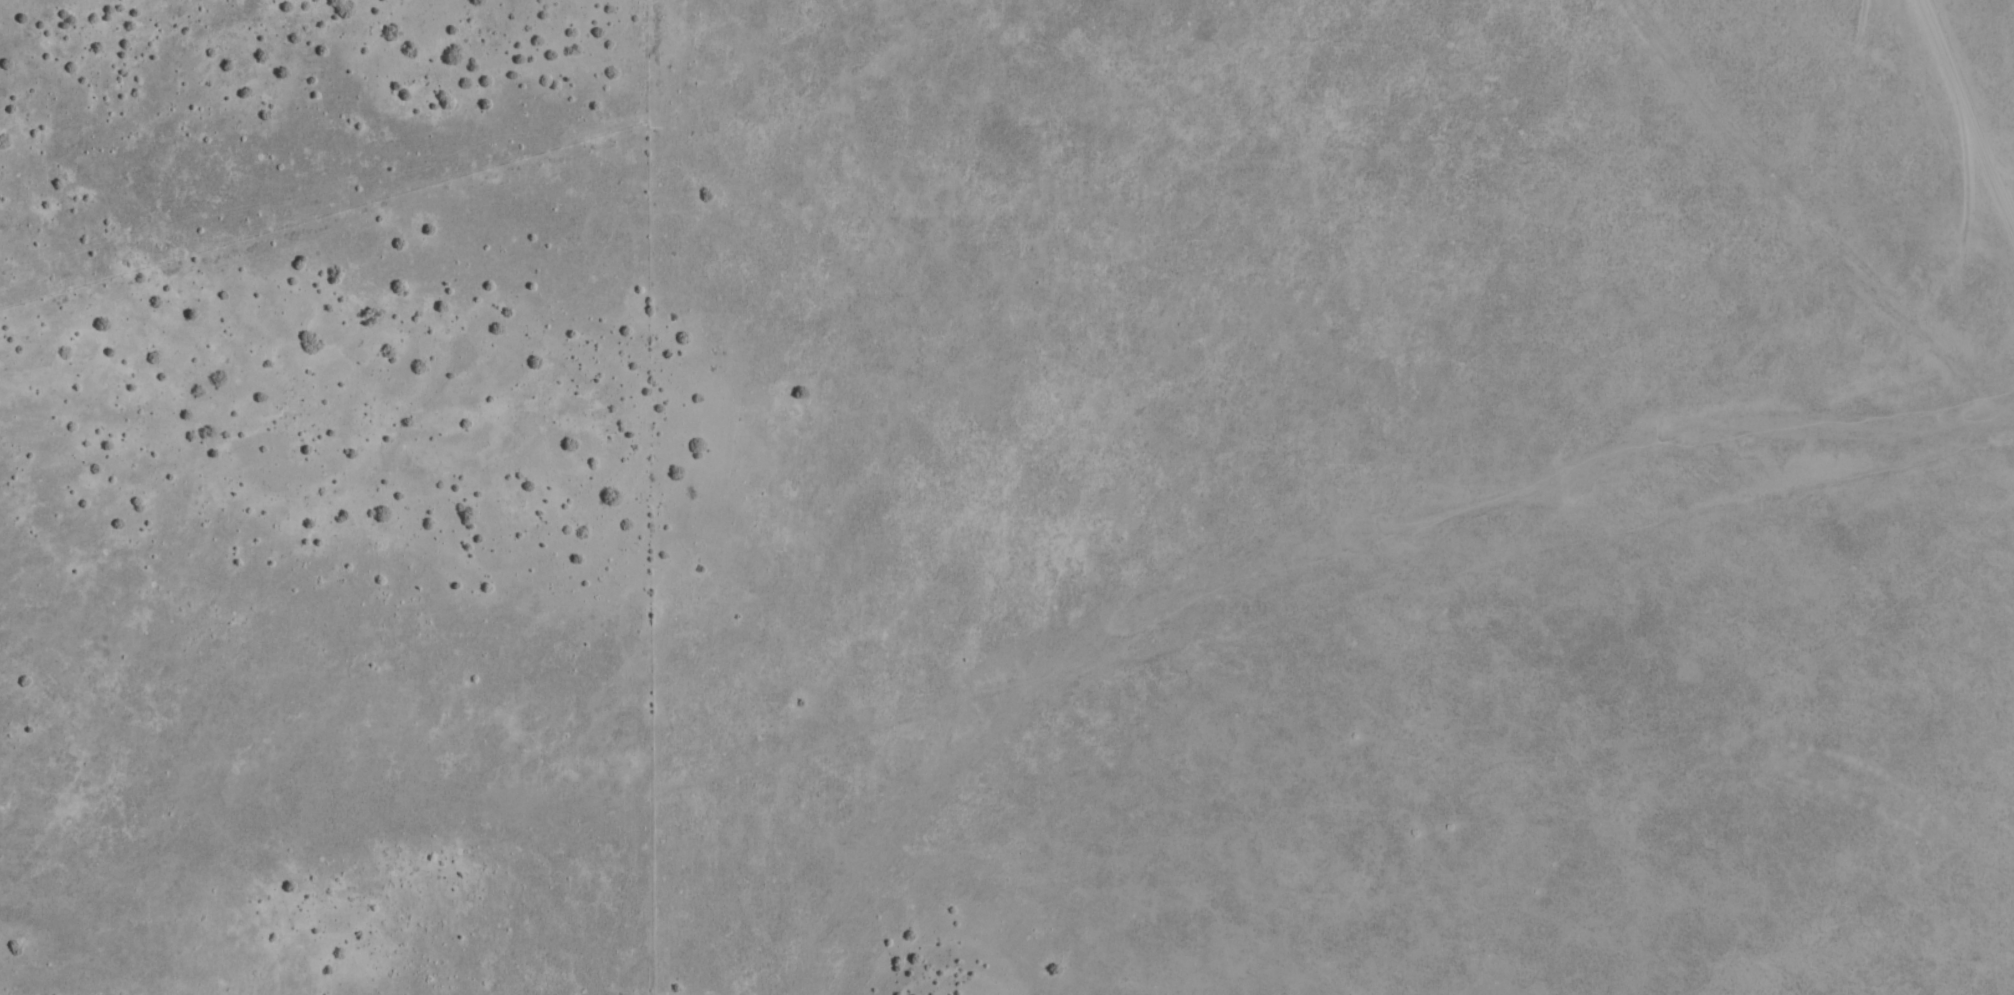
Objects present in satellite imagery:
road: (1948, 142)

